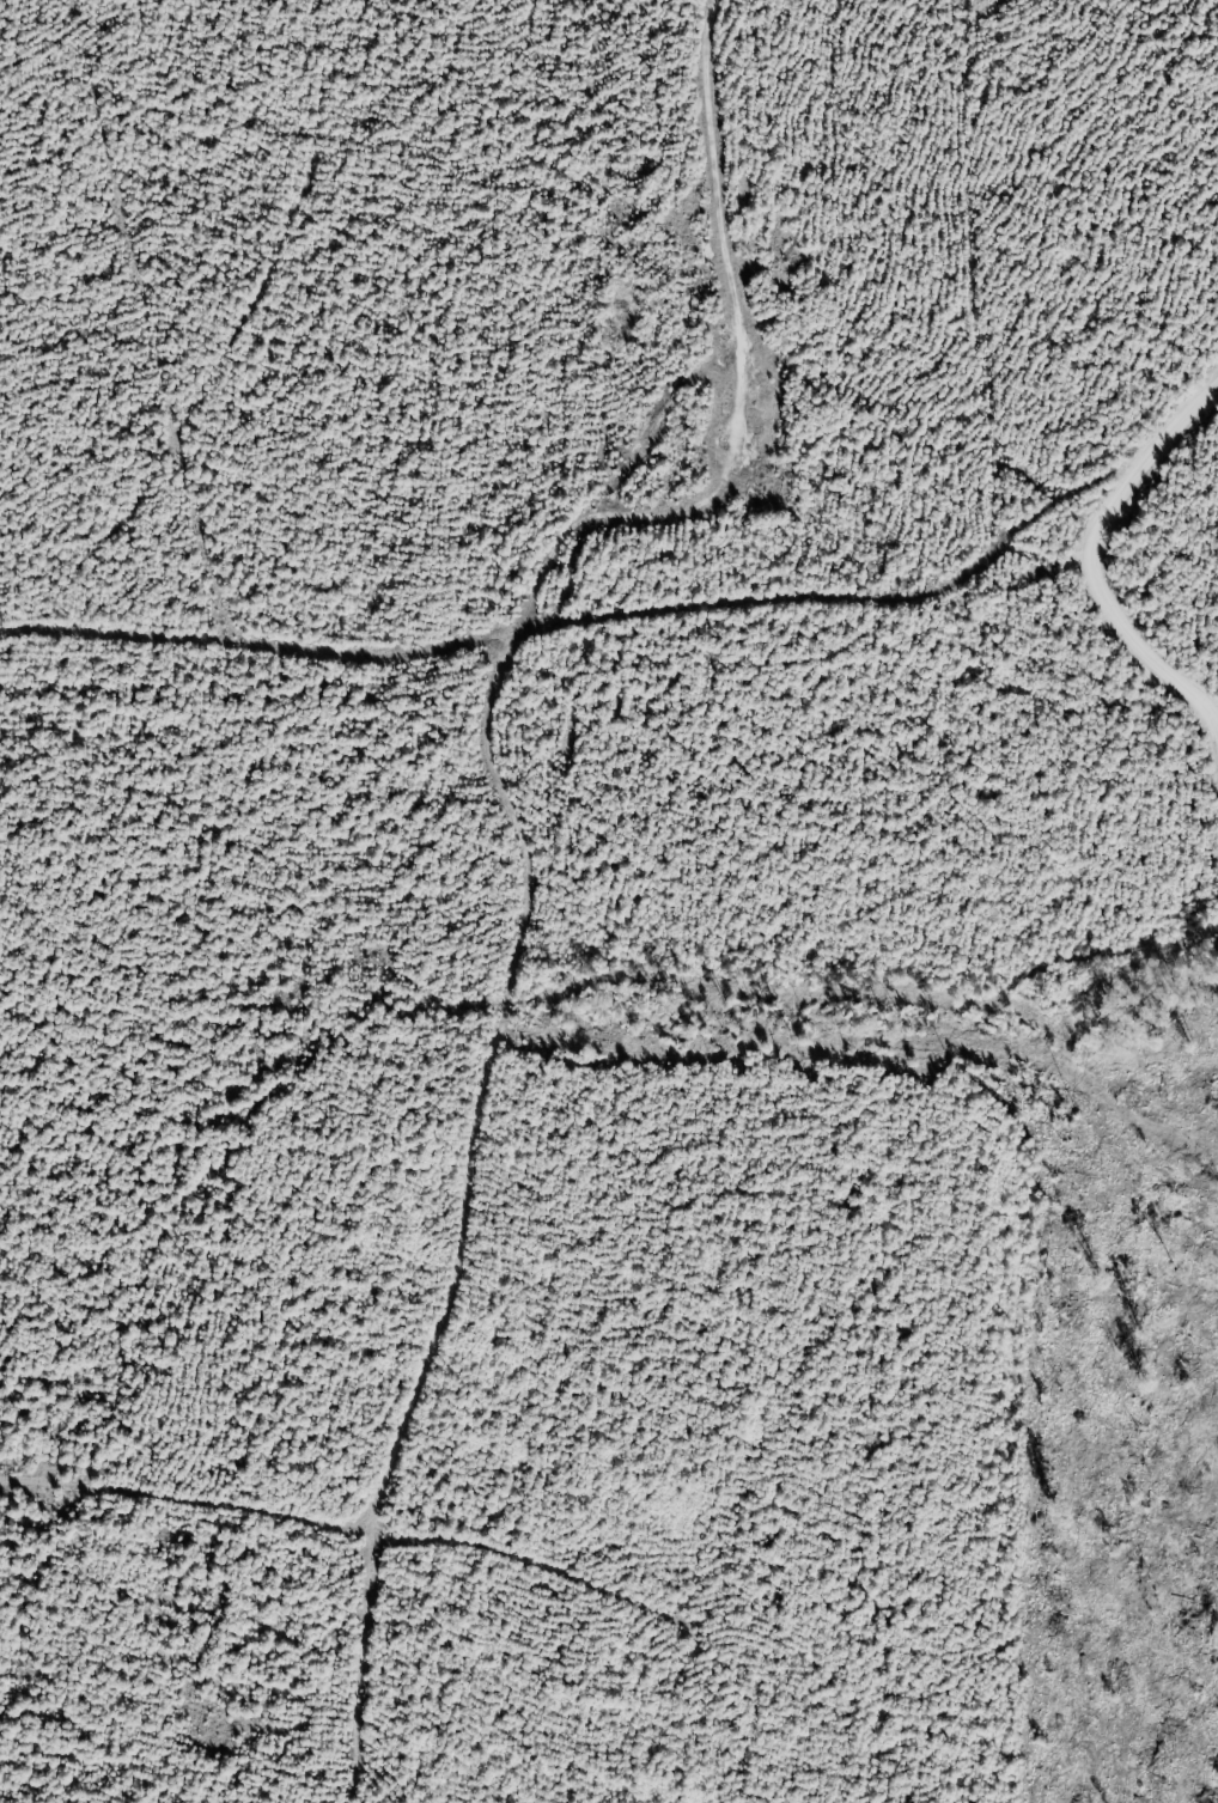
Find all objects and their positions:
road: (715, 218)

